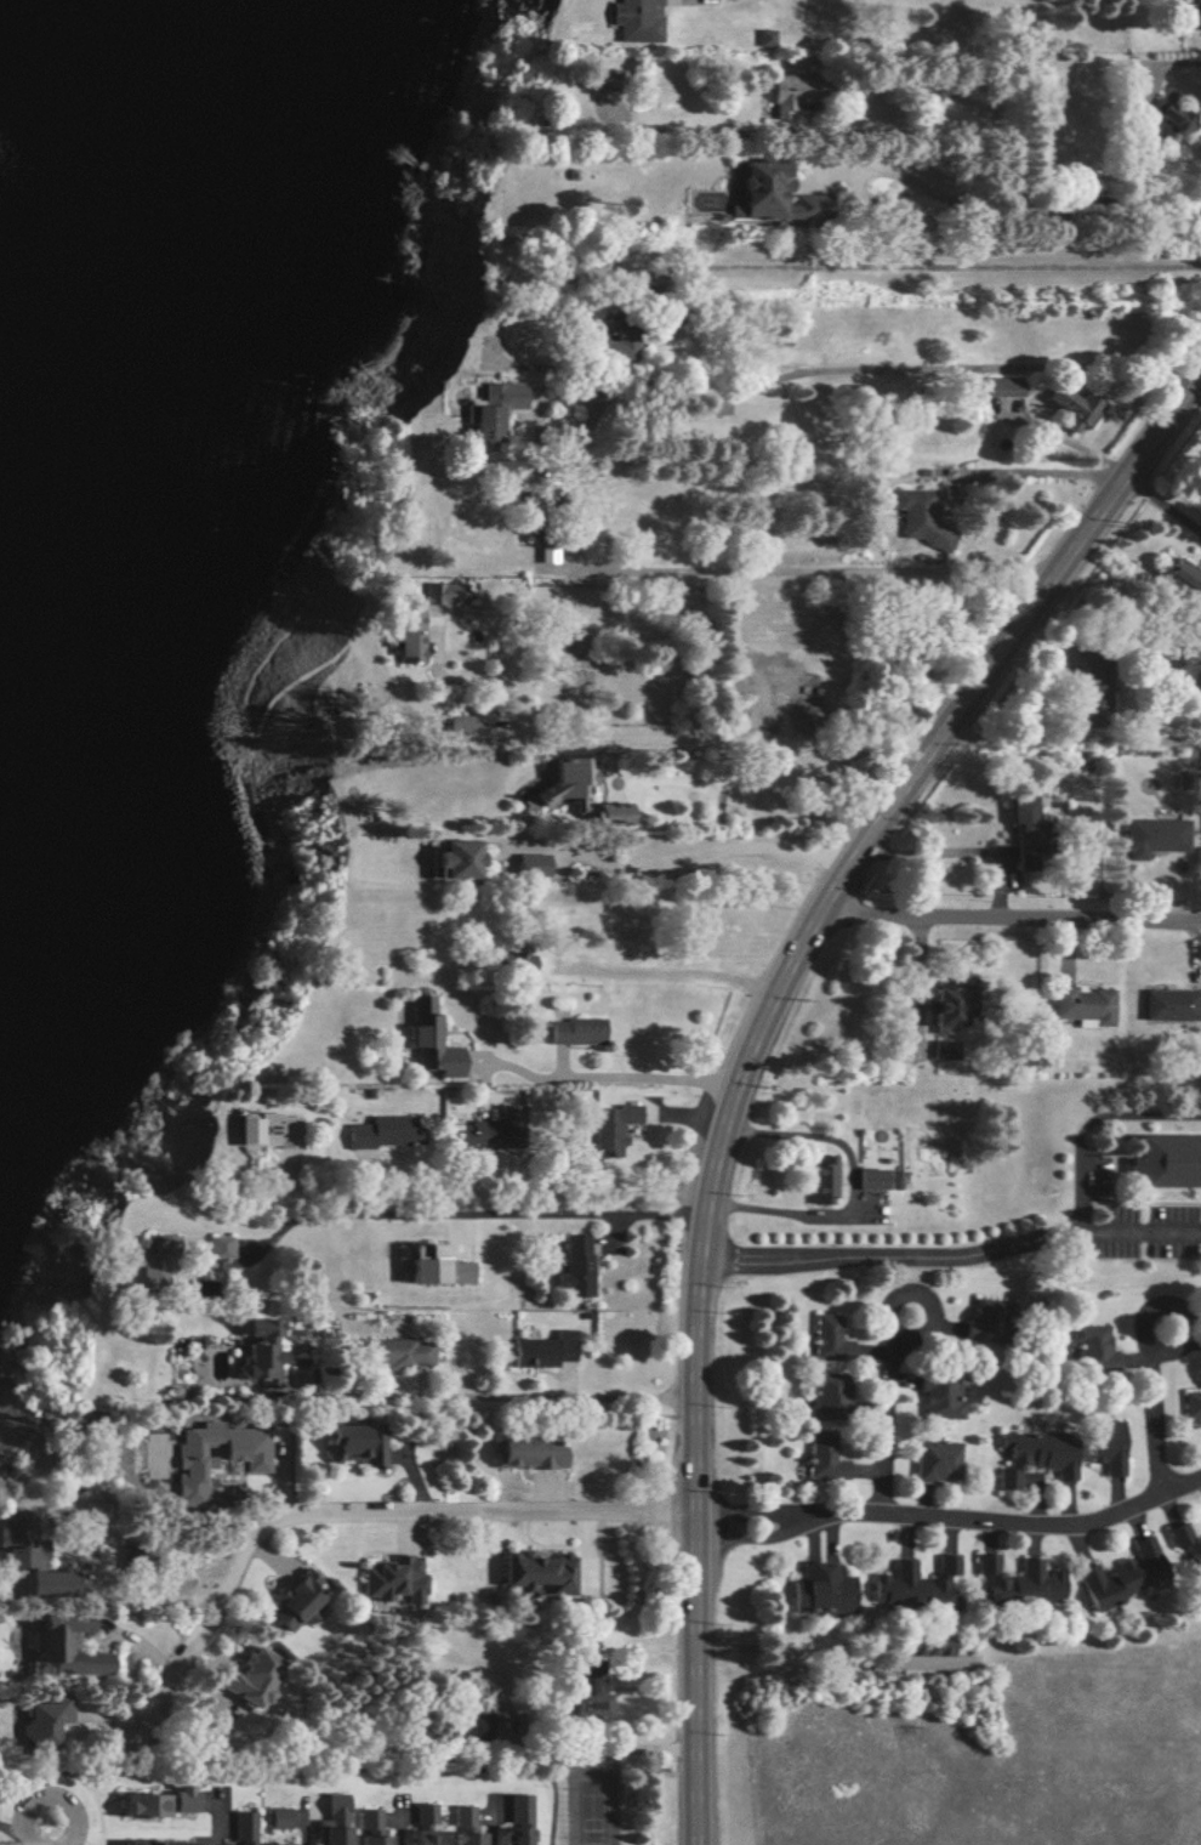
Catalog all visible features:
building: (1189, 15)
building: (636, 19)
building: (768, 38)
building: (793, 93)
building: (1168, 120)
road: (904, 187)
building: (774, 193)
road: (511, 254)
road: (883, 284)
road: (512, 302)
building: (615, 350)
road: (994, 364)
building: (1006, 386)
building: (1074, 408)
building: (718, 409)
building: (494, 410)
road: (1167, 504)
building: (921, 517)
road: (795, 568)
building: (1185, 577)
building: (420, 620)
building: (468, 721)
road: (581, 734)
road: (1069, 734)
building: (564, 783)
building: (609, 812)
building: (1023, 821)
building: (1154, 836)
road: (699, 850)
building: (456, 861)
building: (531, 864)
road: (1011, 925)
building: (513, 964)
road: (684, 970)
building: (954, 1005)
building: (1171, 1005)
building: (1083, 1006)
building: (577, 1031)
building: (434, 1043)
road: (759, 1043)
building: (946, 1049)
road: (638, 1078)
building: (511, 1118)
road: (1089, 1120)
building: (268, 1129)
building: (613, 1129)
building: (383, 1131)
building: (469, 1135)
building: (1167, 1162)
building: (873, 1177)
building: (825, 1179)
road: (854, 1186)
road: (433, 1202)
road: (1143, 1230)
building: (220, 1247)
road: (894, 1254)
building: (156, 1264)
building: (577, 1266)
building: (437, 1267)
building: (984, 1321)
building: (831, 1338)
building: (1093, 1346)
building: (261, 1349)
building: (545, 1350)
building: (400, 1351)
road: (490, 1396)
building: (830, 1396)
building: (943, 1396)
road: (1155, 1400)
building: (1193, 1404)
road: (901, 1415)
building: (355, 1442)
building: (1105, 1446)
building: (528, 1452)
building: (1035, 1457)
building: (824, 1458)
building: (937, 1460)
building: (192, 1463)
road: (952, 1517)
road: (343, 1522)
building: (1185, 1540)
building: (29, 1556)
building: (537, 1571)
building: (1123, 1574)
building: (393, 1579)
building: (1020, 1582)
building: (915, 1583)
building: (823, 1589)
building: (297, 1600)
road: (149, 1601)
building: (928, 1644)
building: (64, 1646)
road: (821, 1647)
building: (250, 1676)
building: (591, 1697)
building: (42, 1720)
road: (642, 1748)
building: (181, 1798)
building: (143, 1804)
building: (423, 1816)
building: (278, 1817)
building: (517, 1820)
building: (332, 1821)
road: (491, 1822)
road: (218, 1823)
road: (398, 1823)
road: (306, 1824)
building: (463, 1827)
building: (243, 1828)
building: (369, 1828)
road: (40, 1835)
road: (51, 1835)
building: (421, 1837)
building: (277, 1844)

